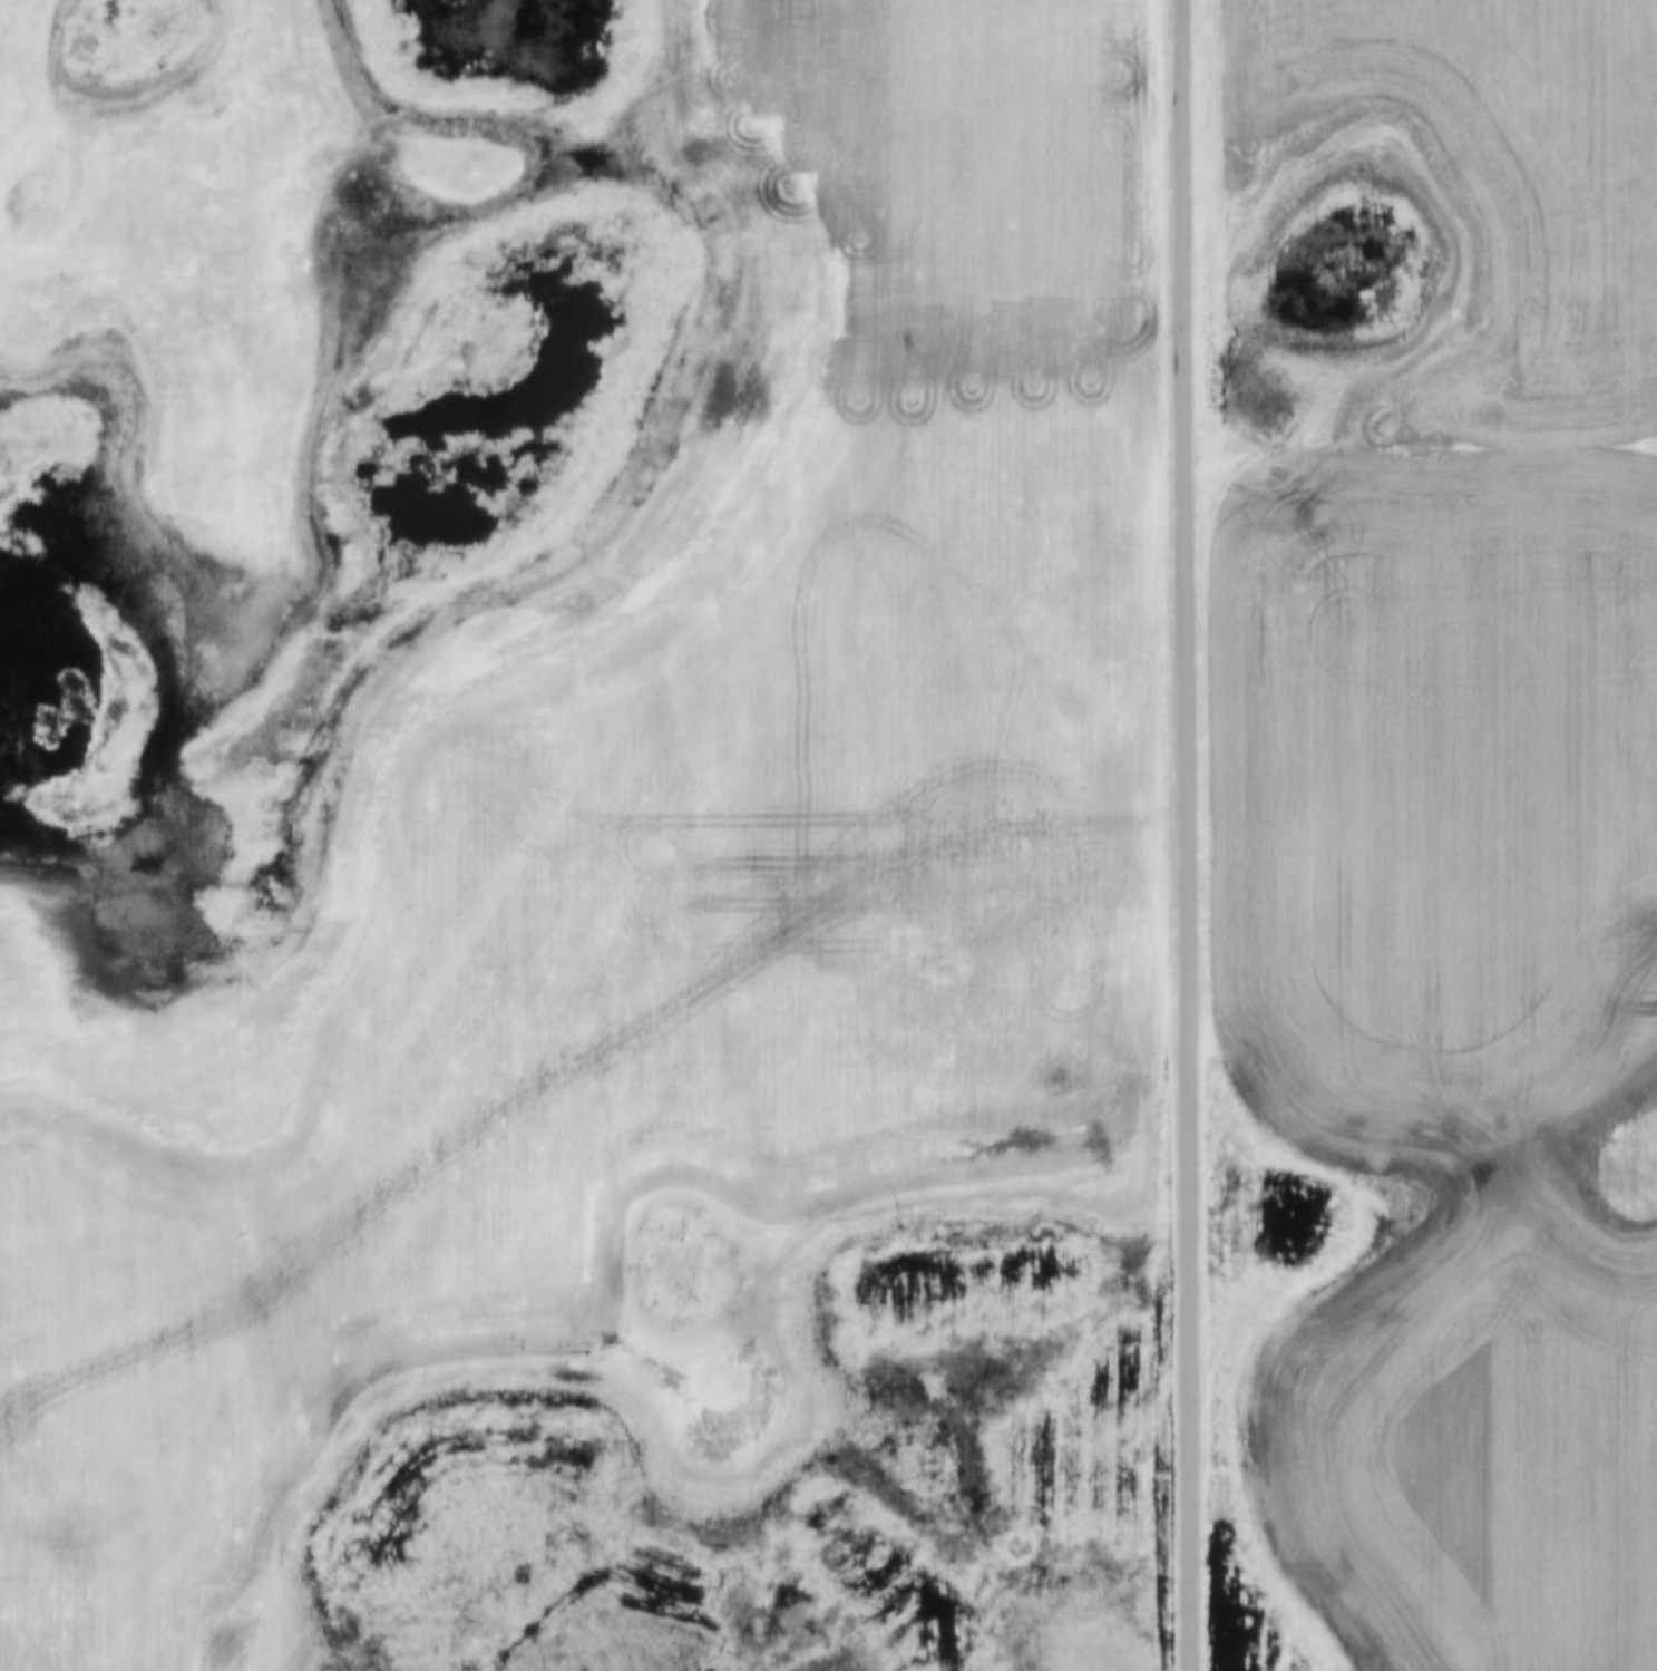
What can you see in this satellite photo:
road: (1183, 835)

